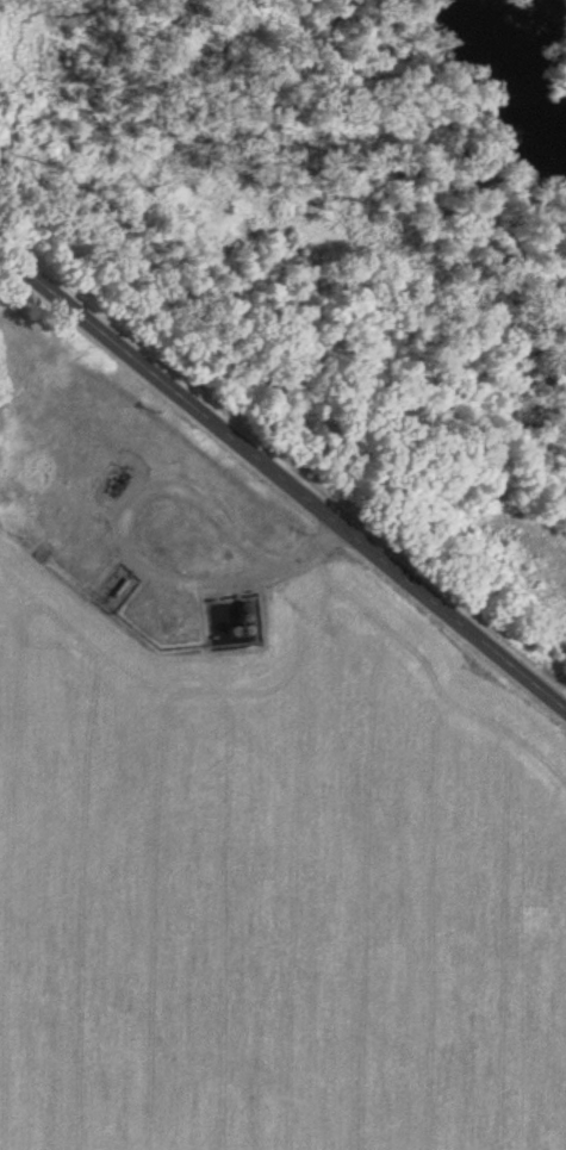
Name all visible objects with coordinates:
river: (517, 70)
road: (282, 475)

